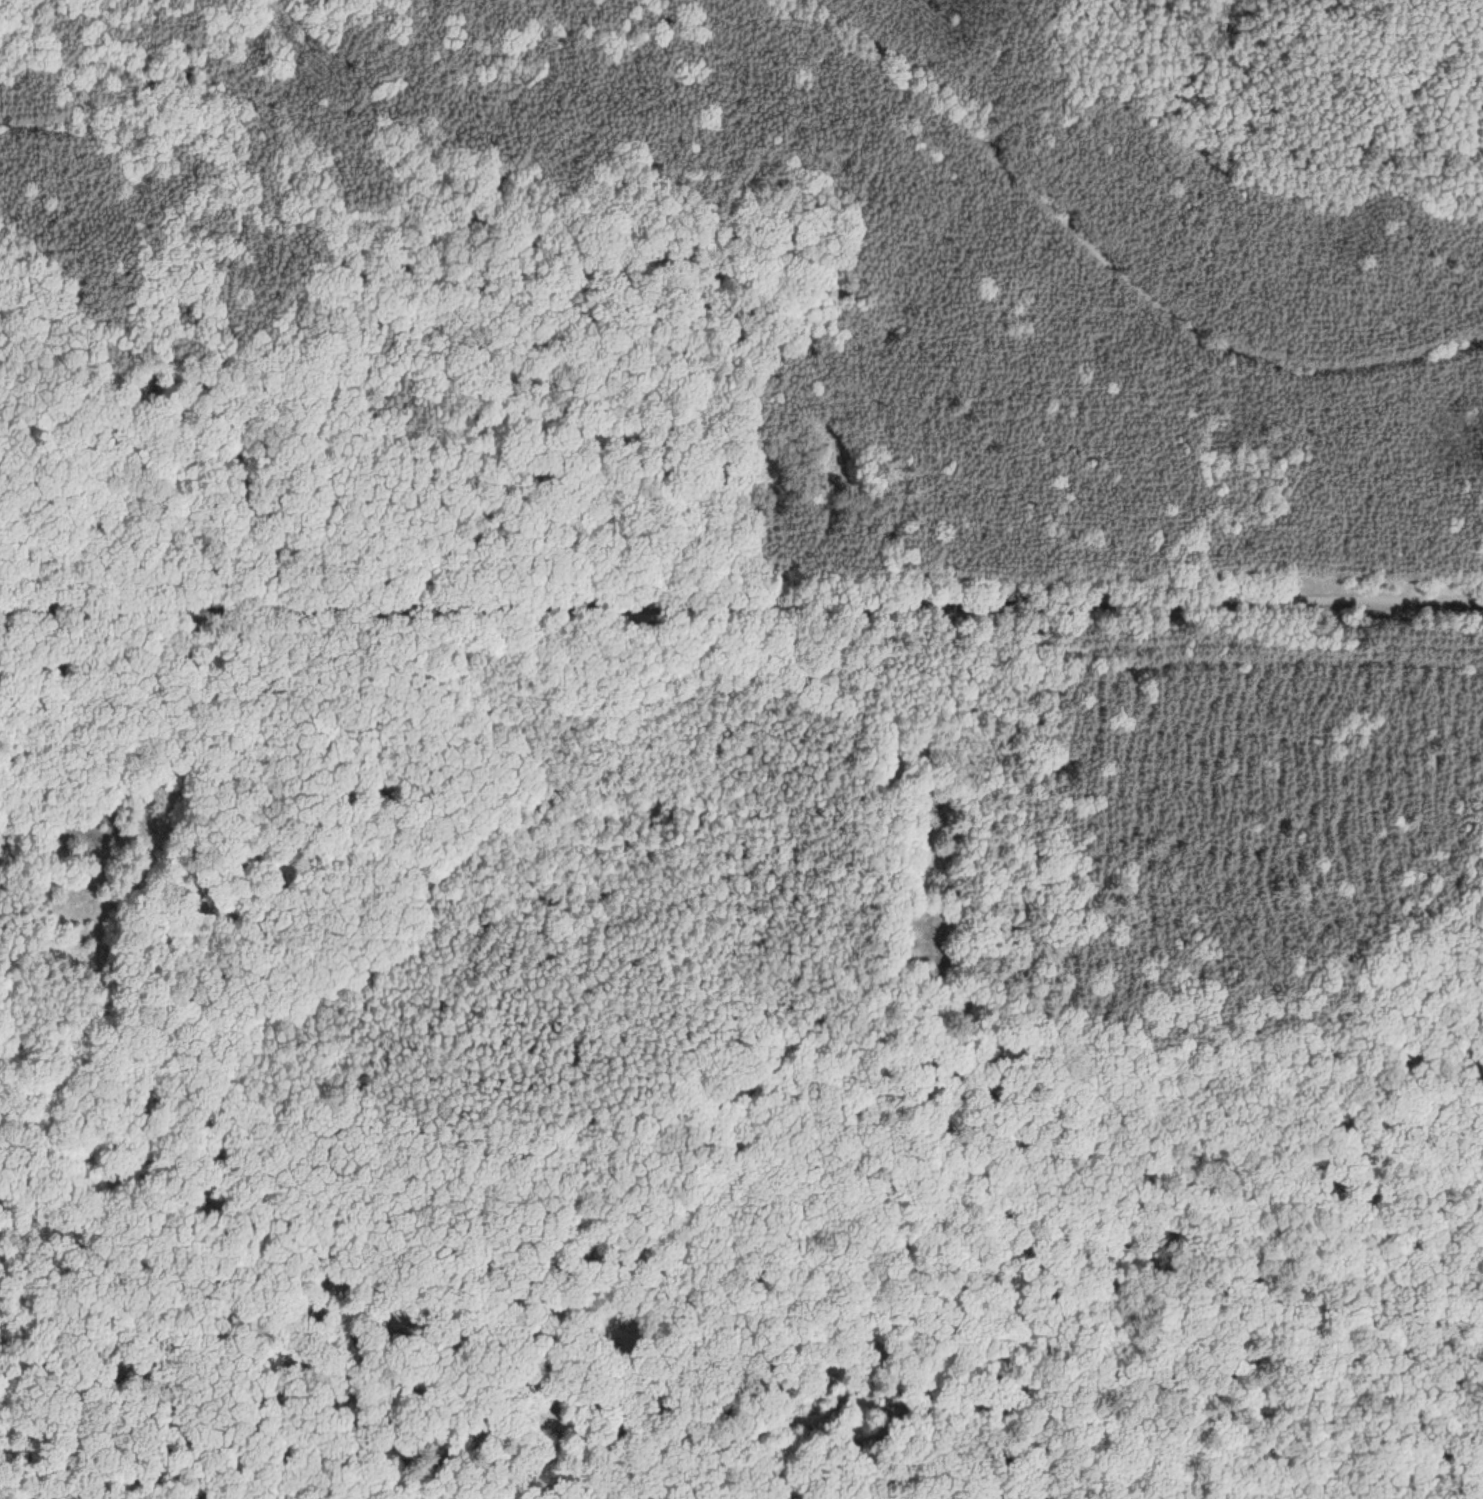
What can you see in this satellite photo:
road: (741, 613)

